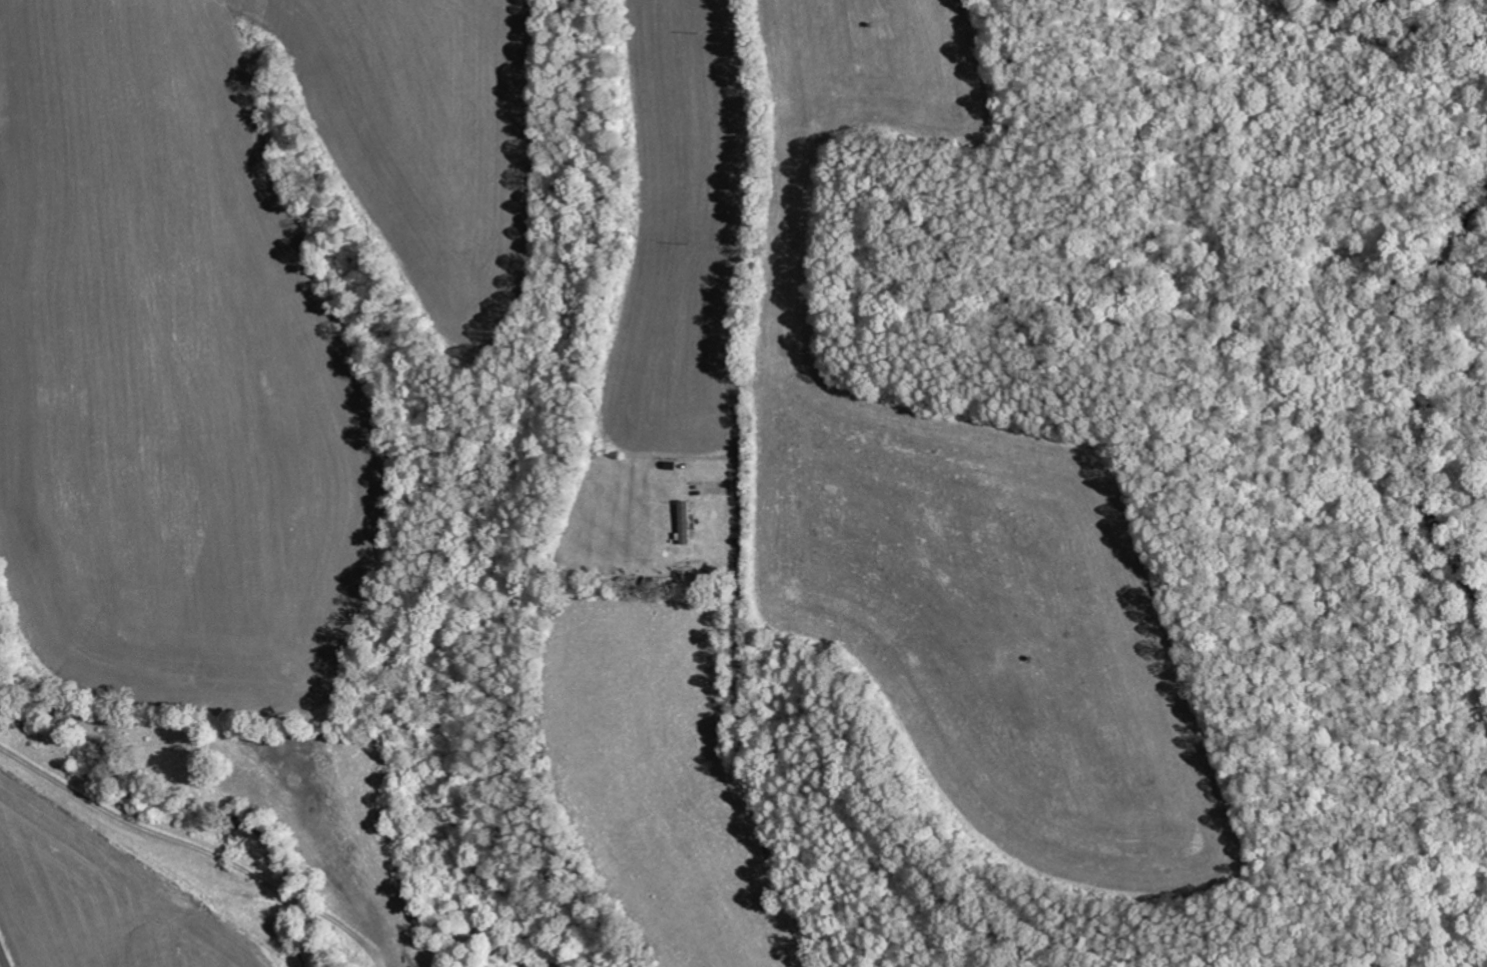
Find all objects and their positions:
road: (734, 493)
road: (3, 958)

